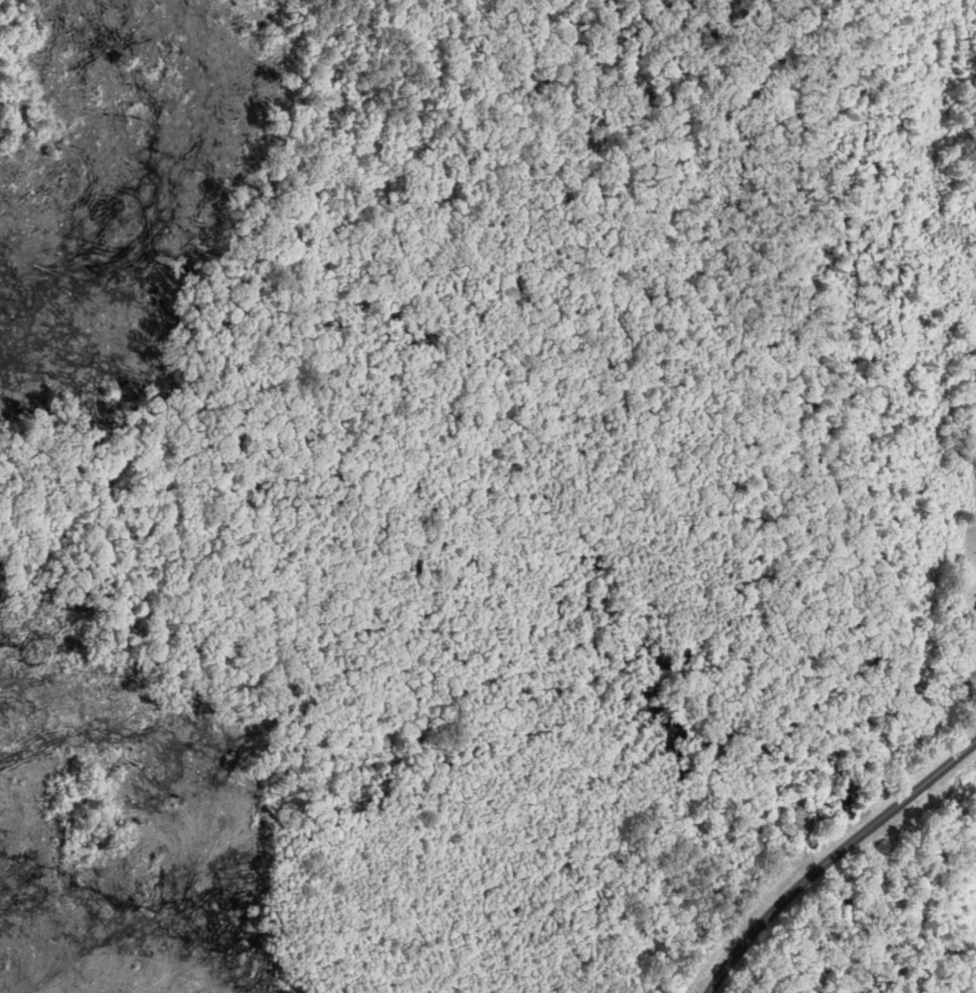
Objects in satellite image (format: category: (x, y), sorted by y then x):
road: (832, 857)

